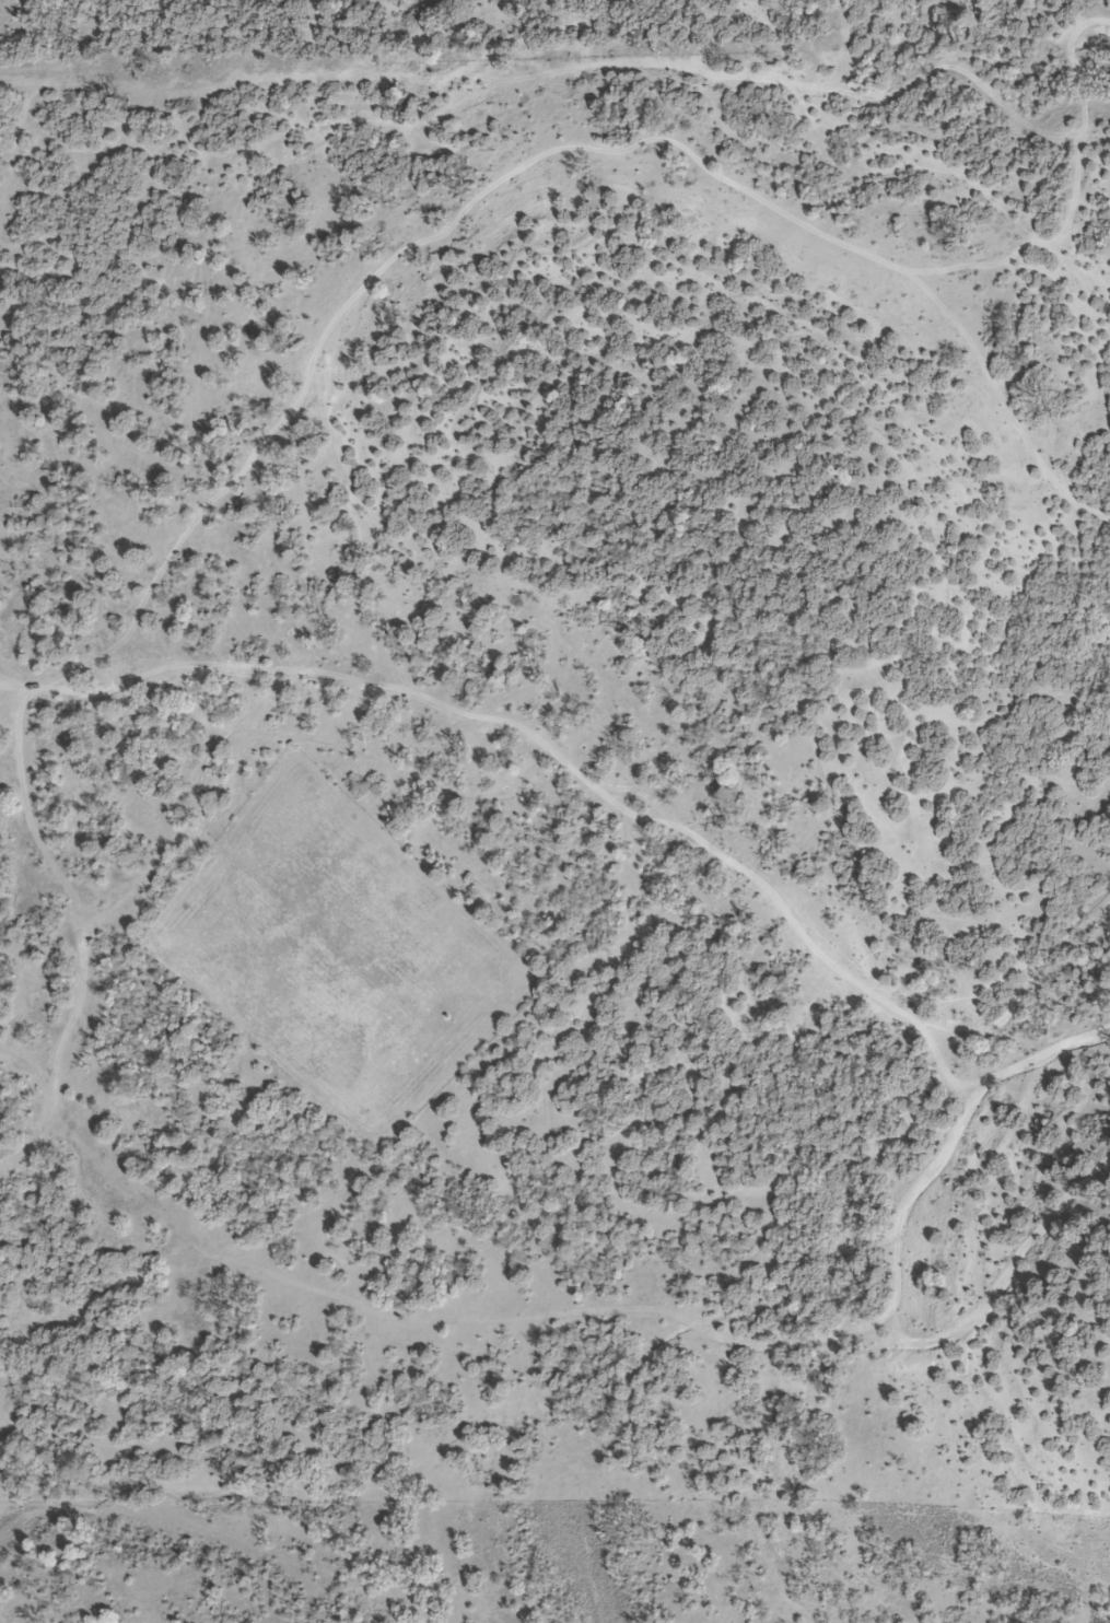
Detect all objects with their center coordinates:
road: (794, 1171)

